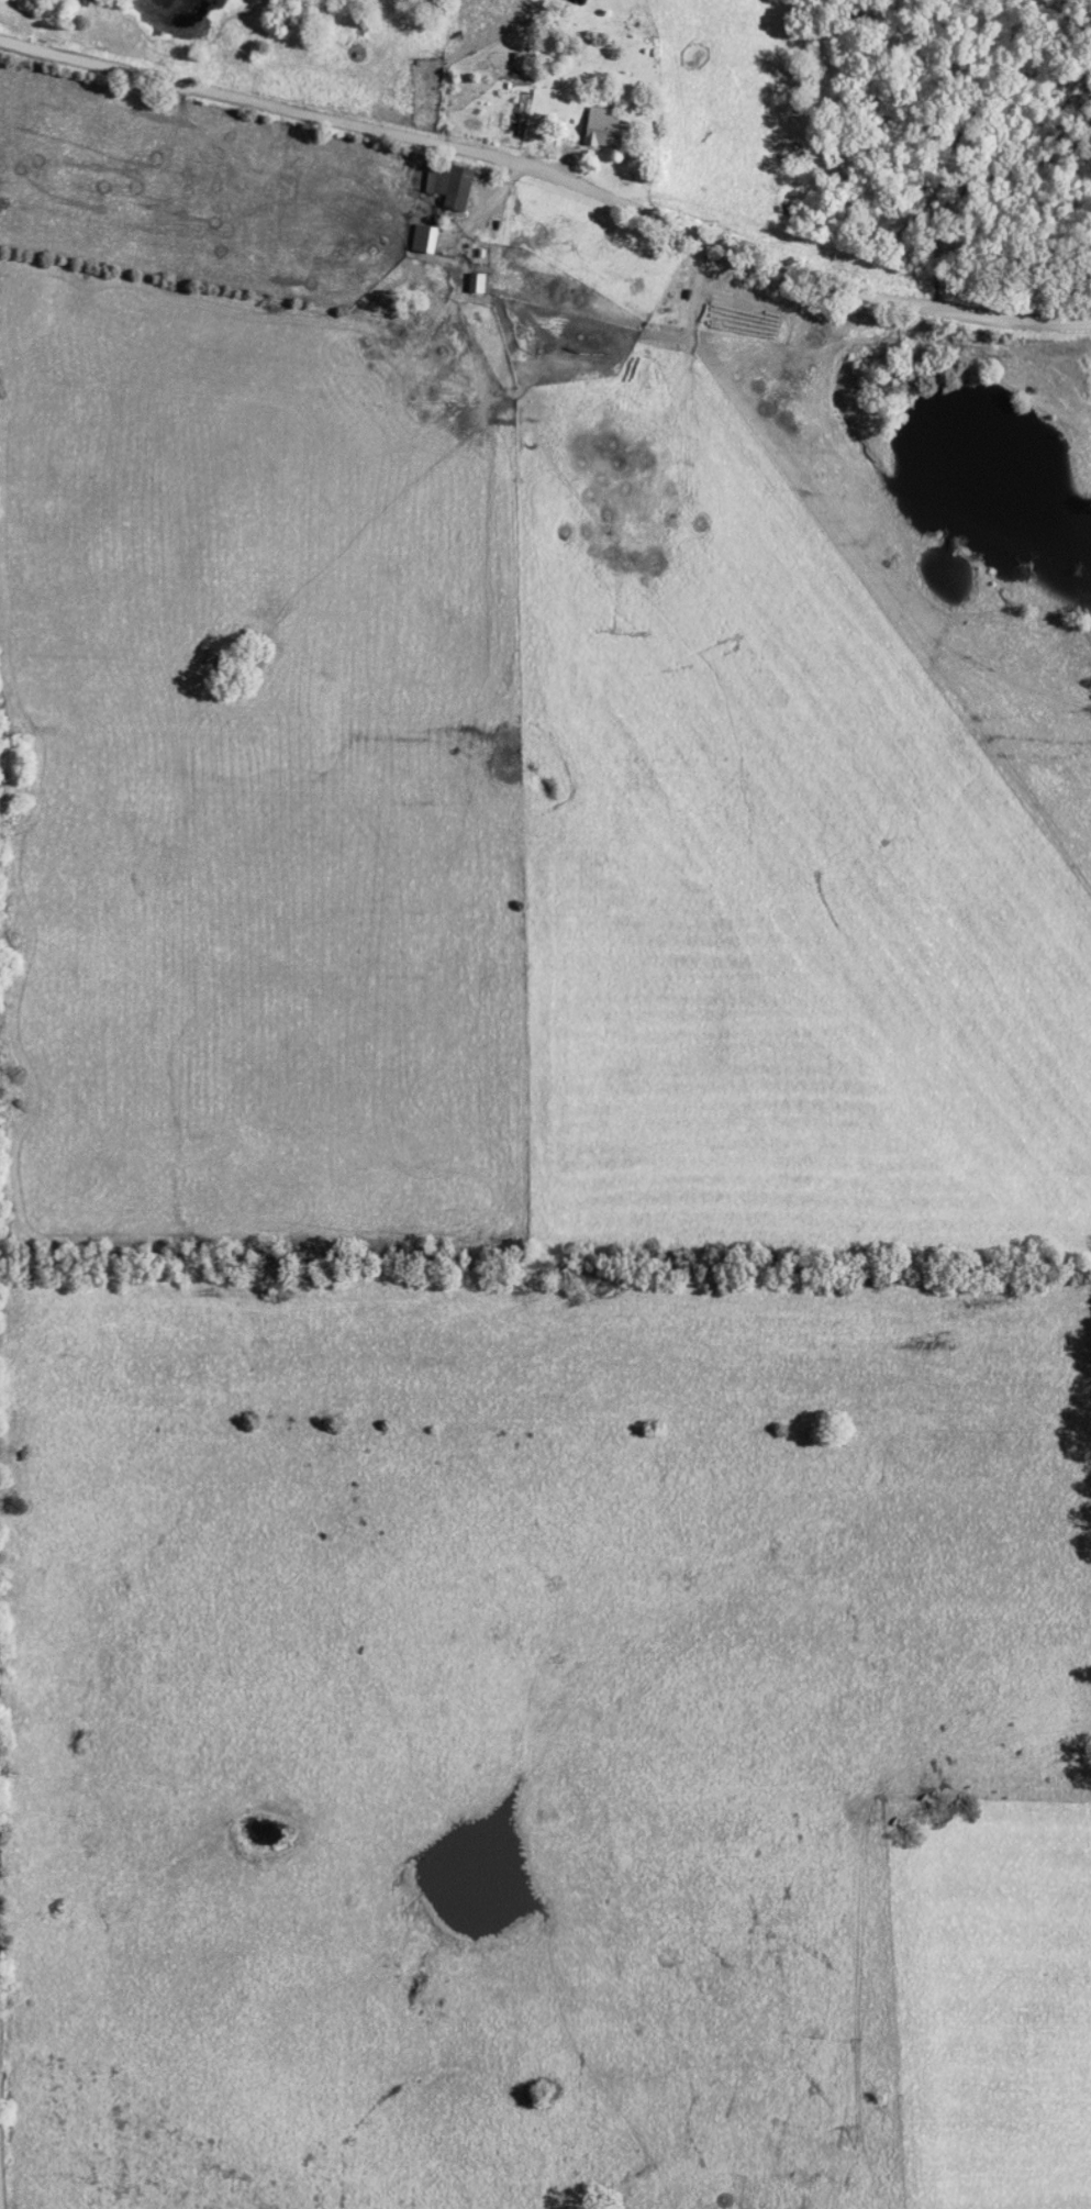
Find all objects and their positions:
road: (553, 168)
building: (423, 240)

